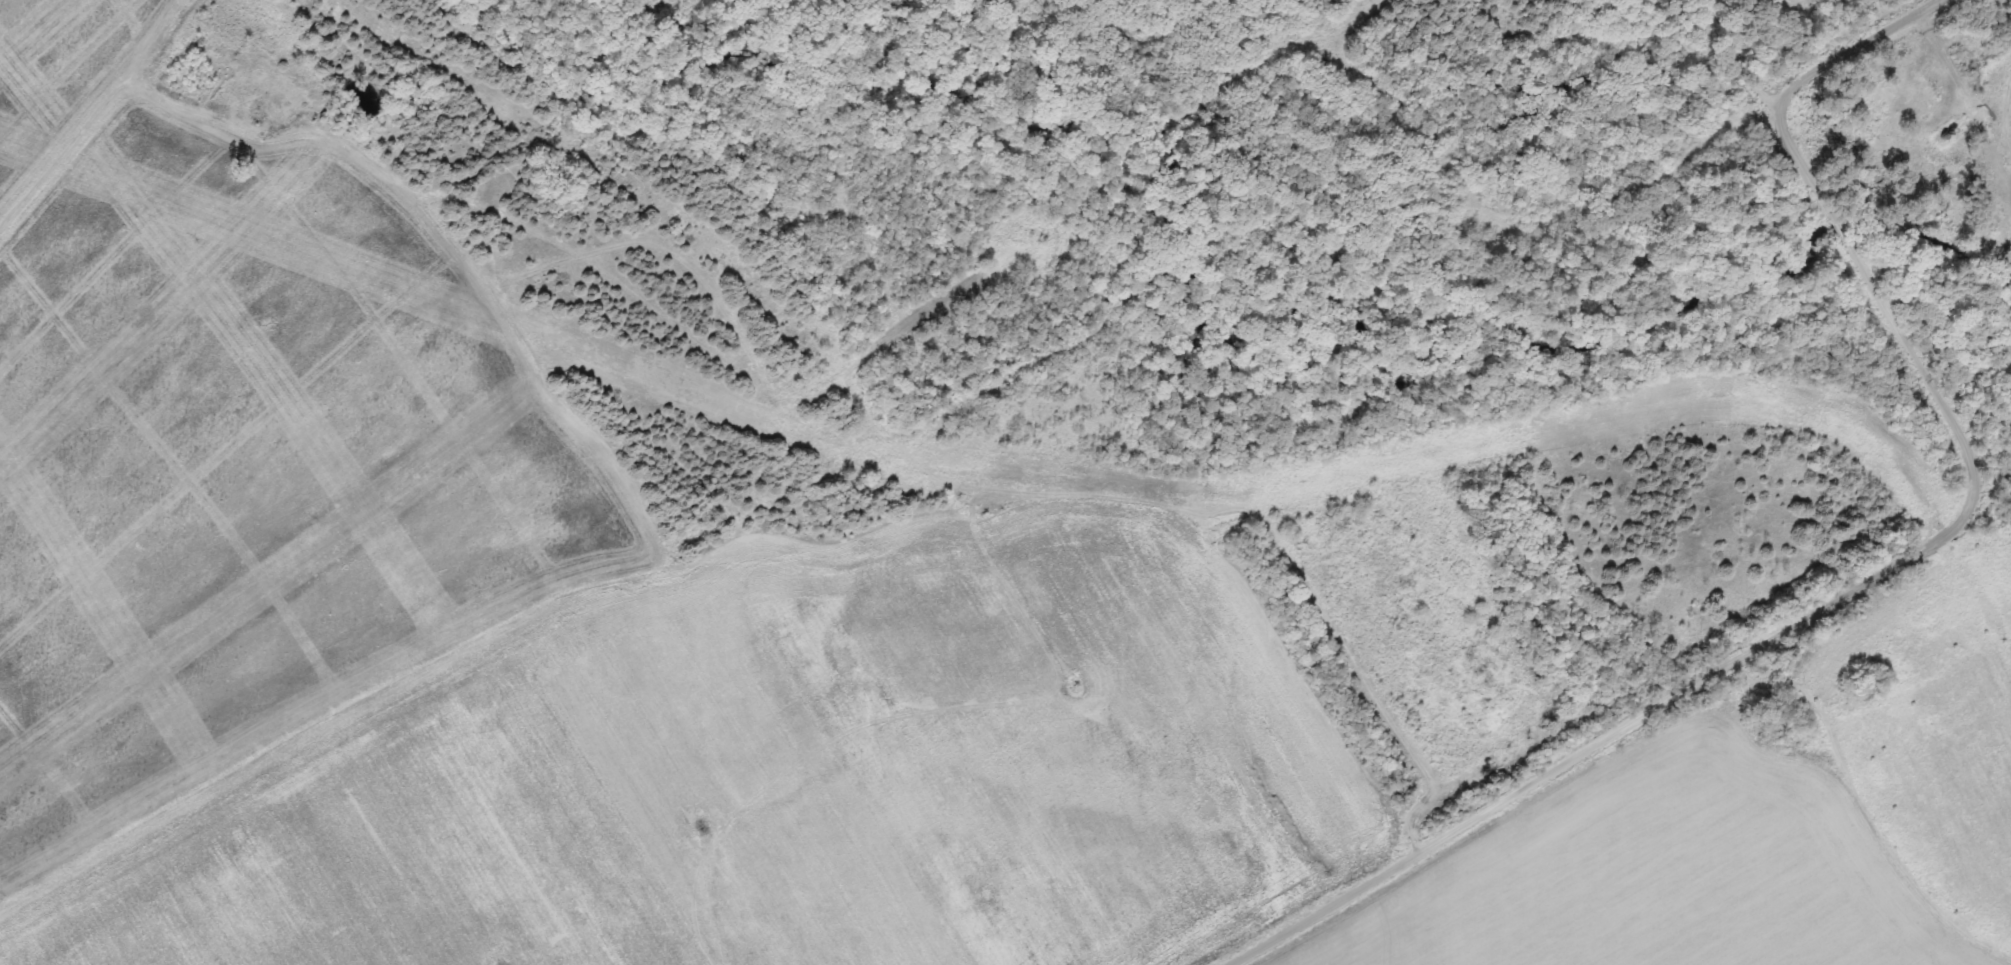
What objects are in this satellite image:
road: (1852, 51)
road: (95, 108)
road: (1787, 619)

